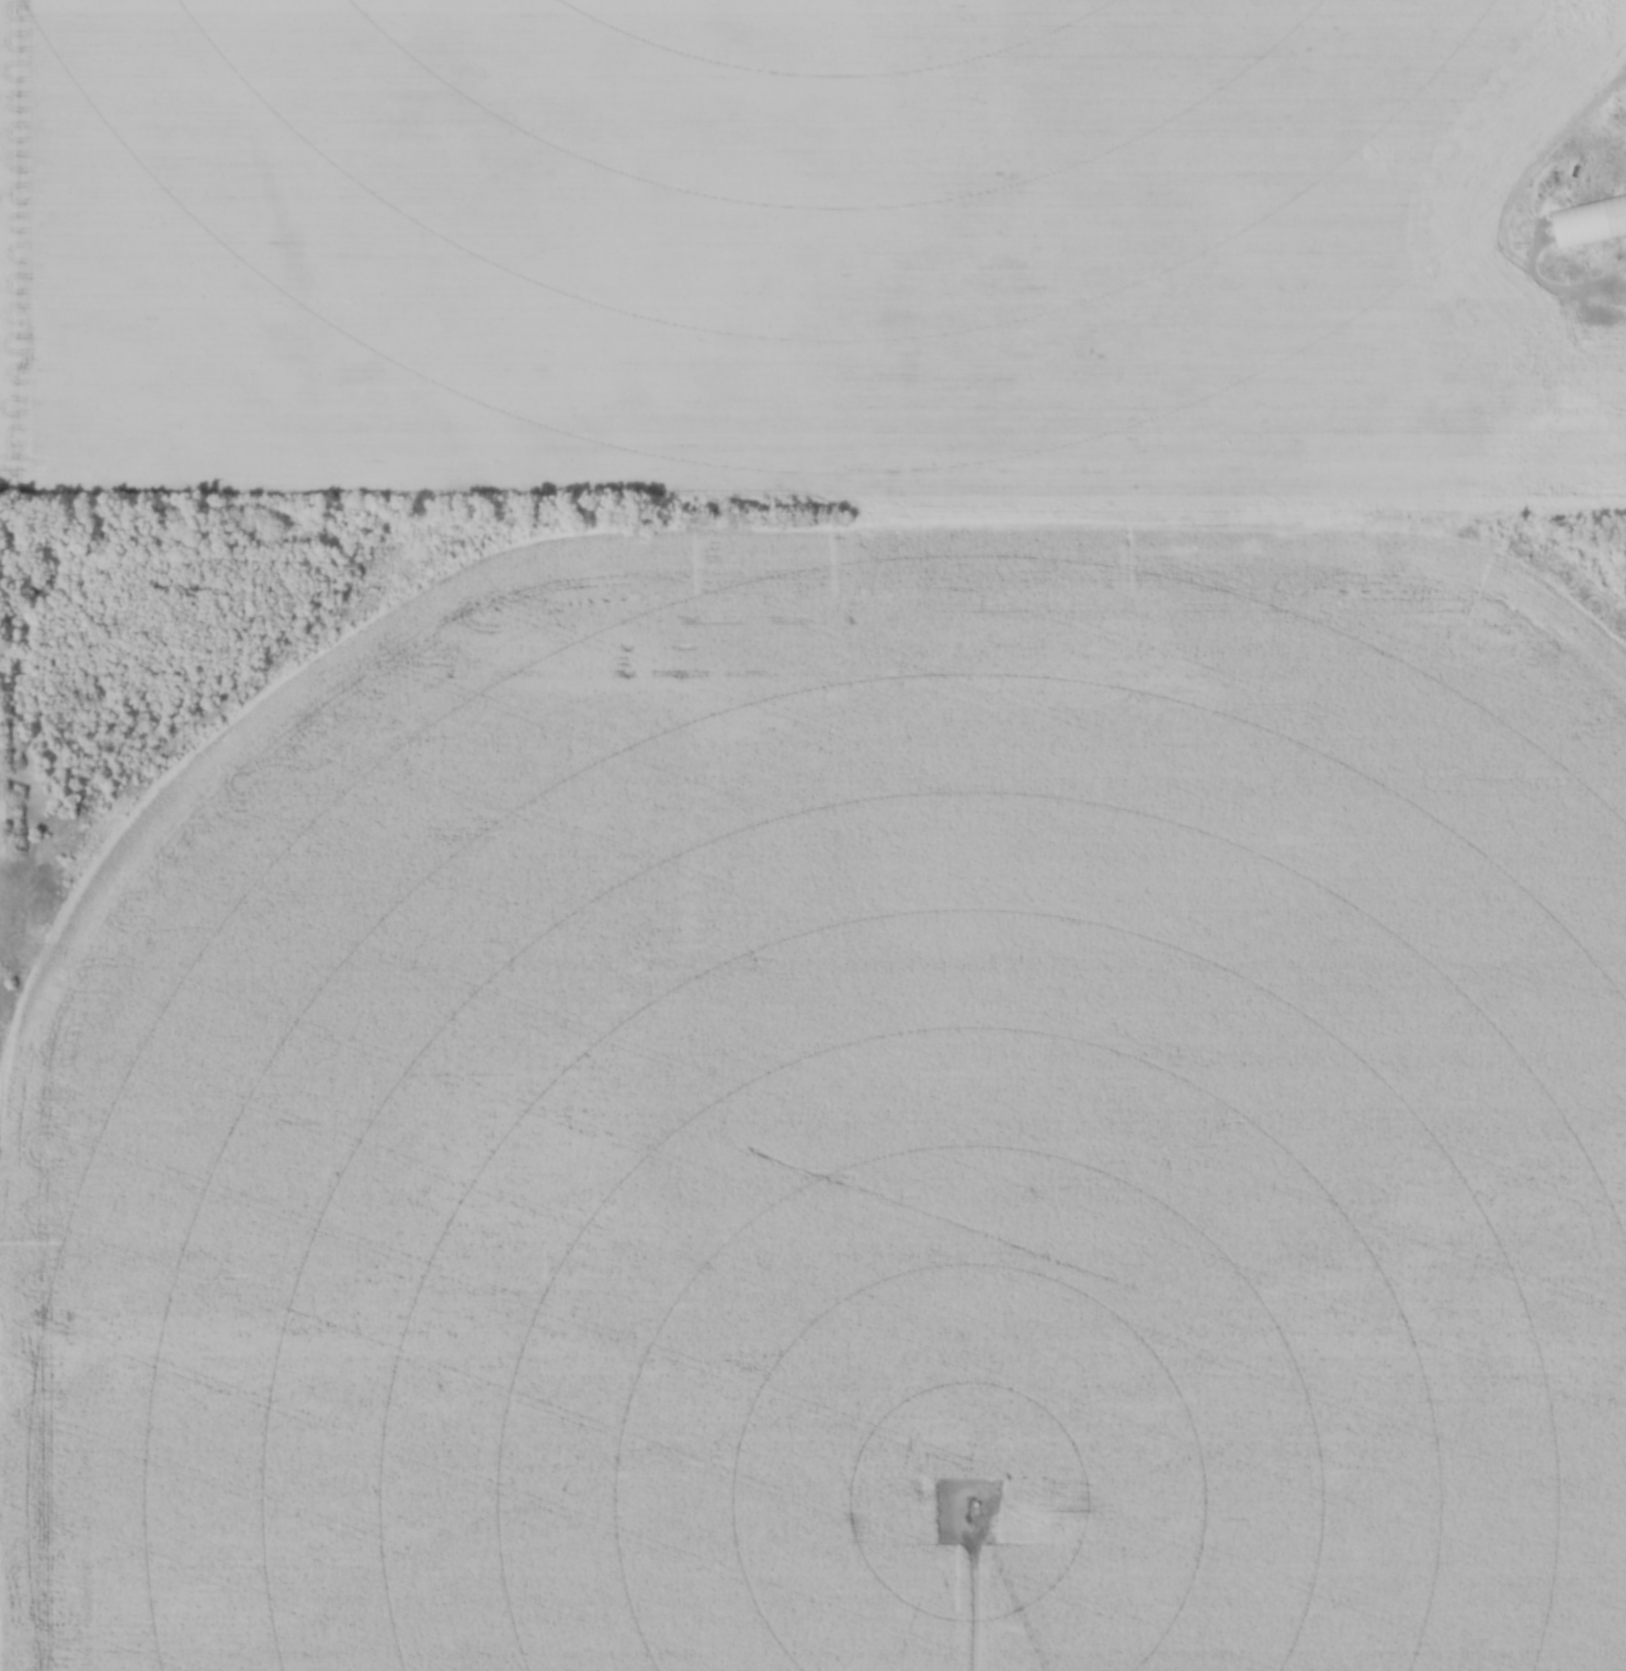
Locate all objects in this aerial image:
building: (1590, 223)

